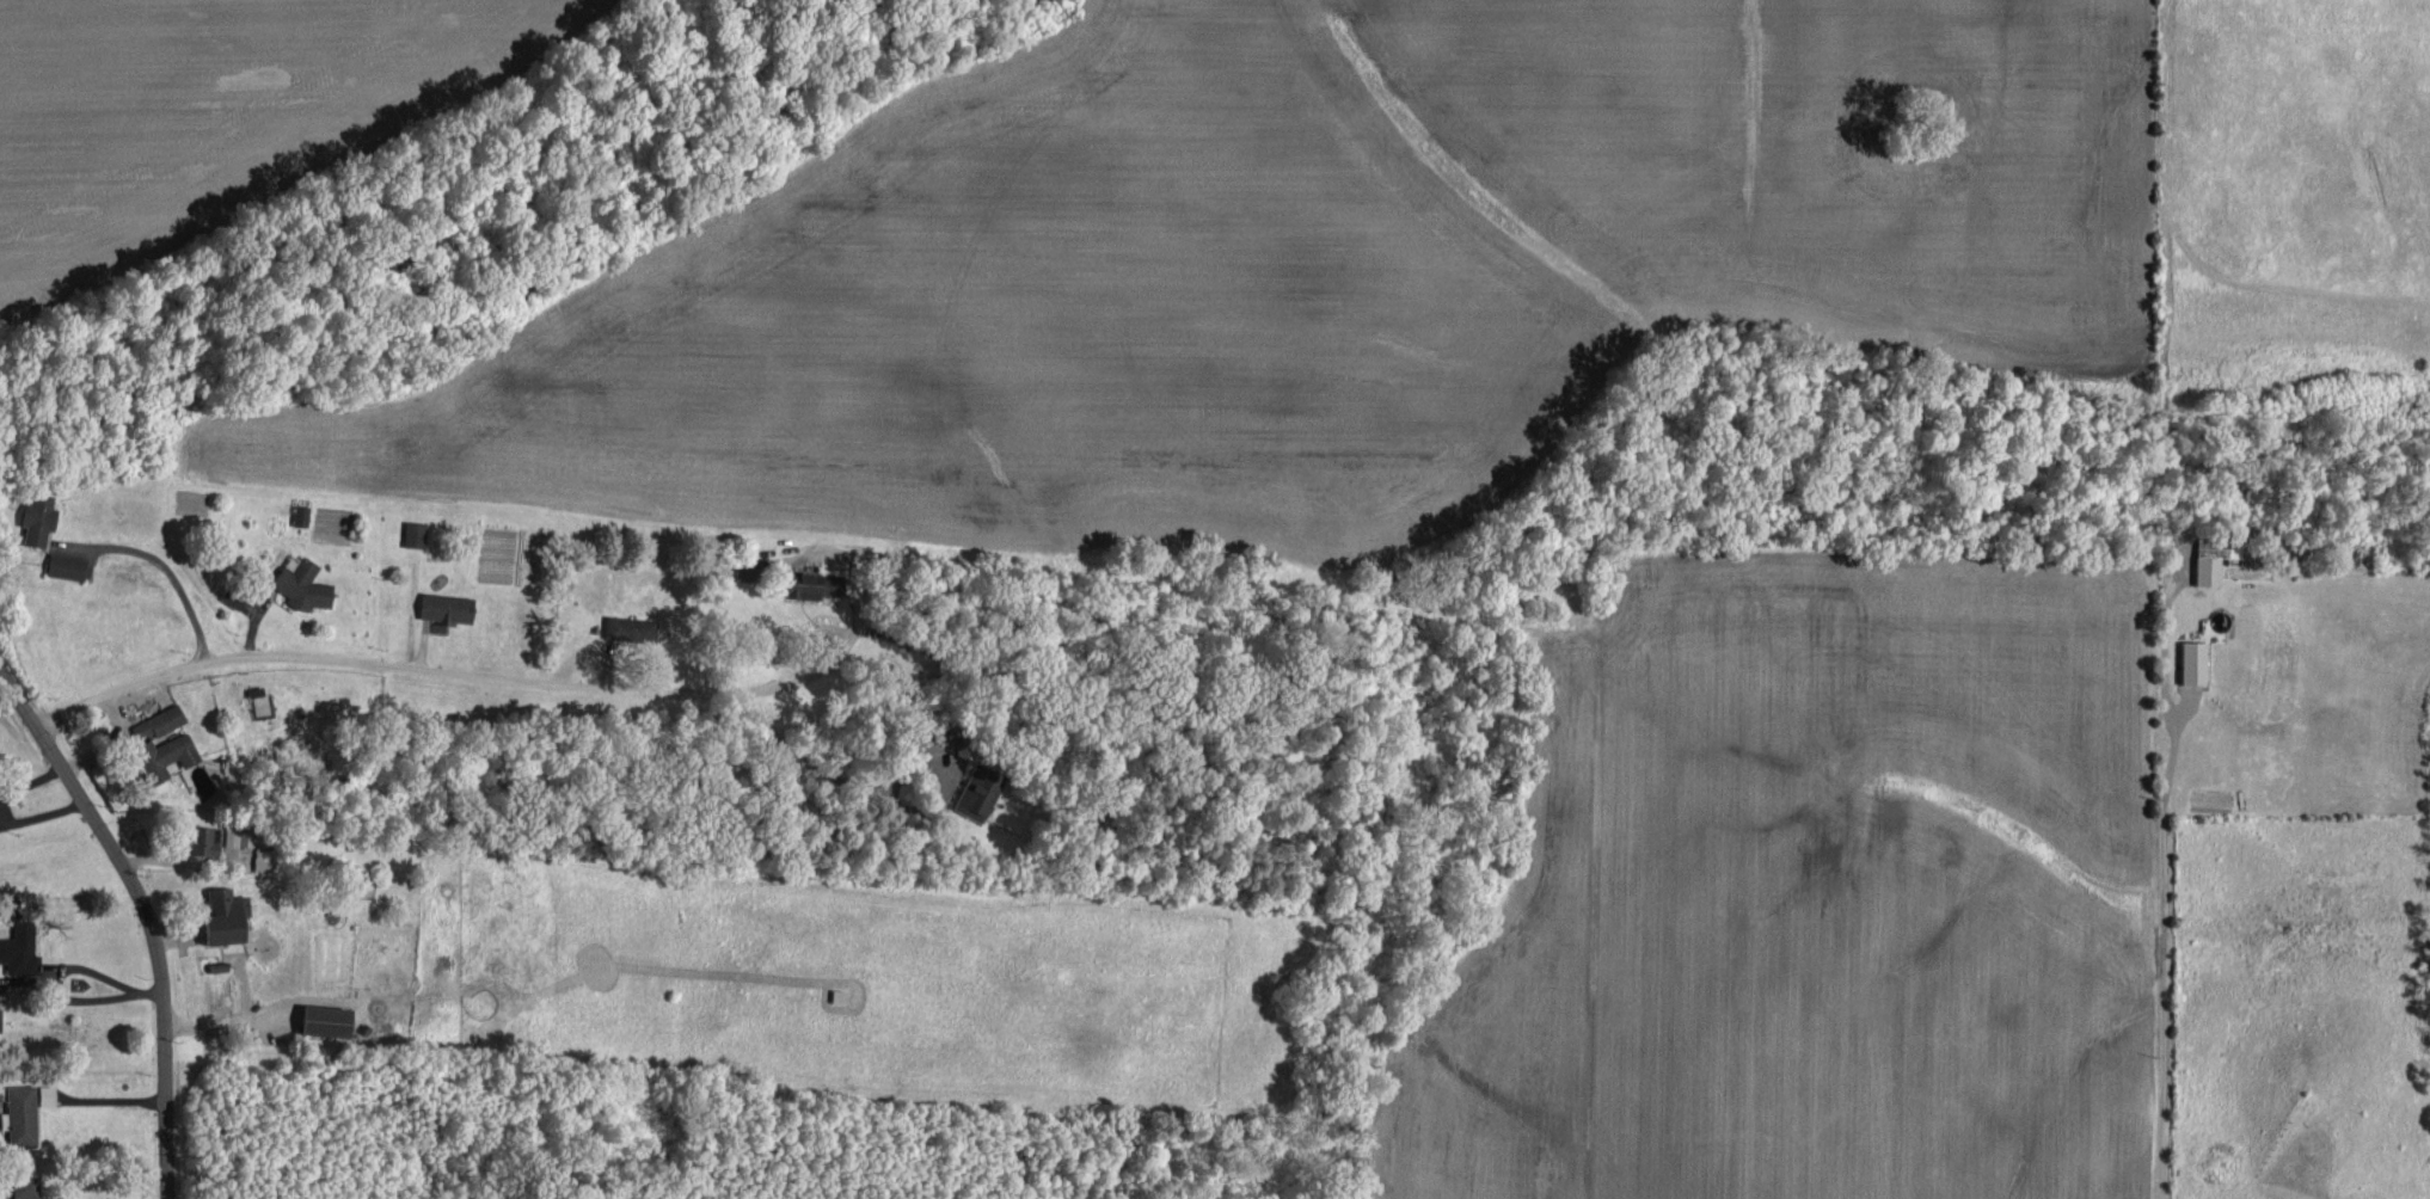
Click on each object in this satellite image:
building: (296, 514)
building: (31, 516)
building: (410, 533)
building: (61, 564)
building: (2202, 570)
building: (297, 583)
building: (440, 605)
building: (626, 628)
building: (2187, 660)
road: (382, 662)
building: (153, 721)
building: (927, 740)
building: (159, 754)
building: (970, 794)
building: (227, 835)
building: (197, 838)
road: (143, 915)
building: (217, 915)
building: (17, 948)
building: (318, 1019)
building: (42, 1093)
building: (17, 1113)
building: (20, 1186)

